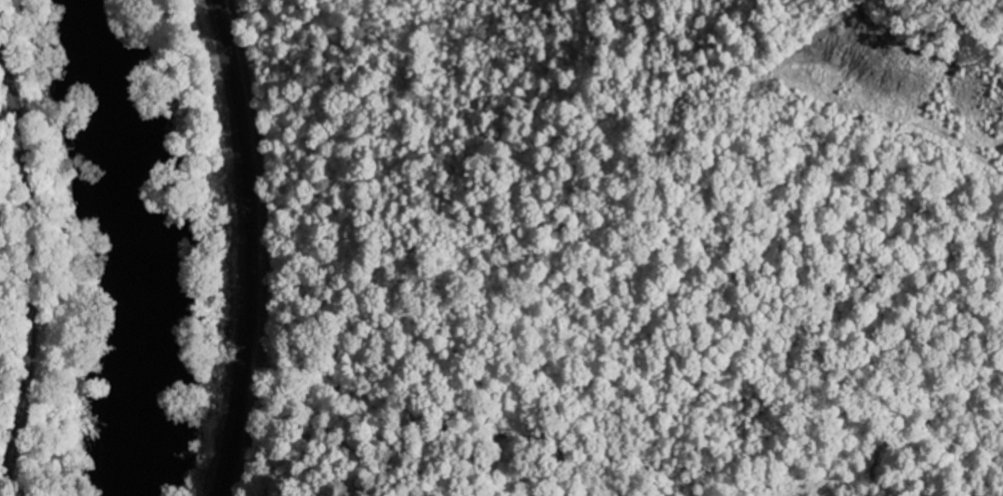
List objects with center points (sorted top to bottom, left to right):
river: (141, 245)
railway: (249, 247)
road: (31, 270)

